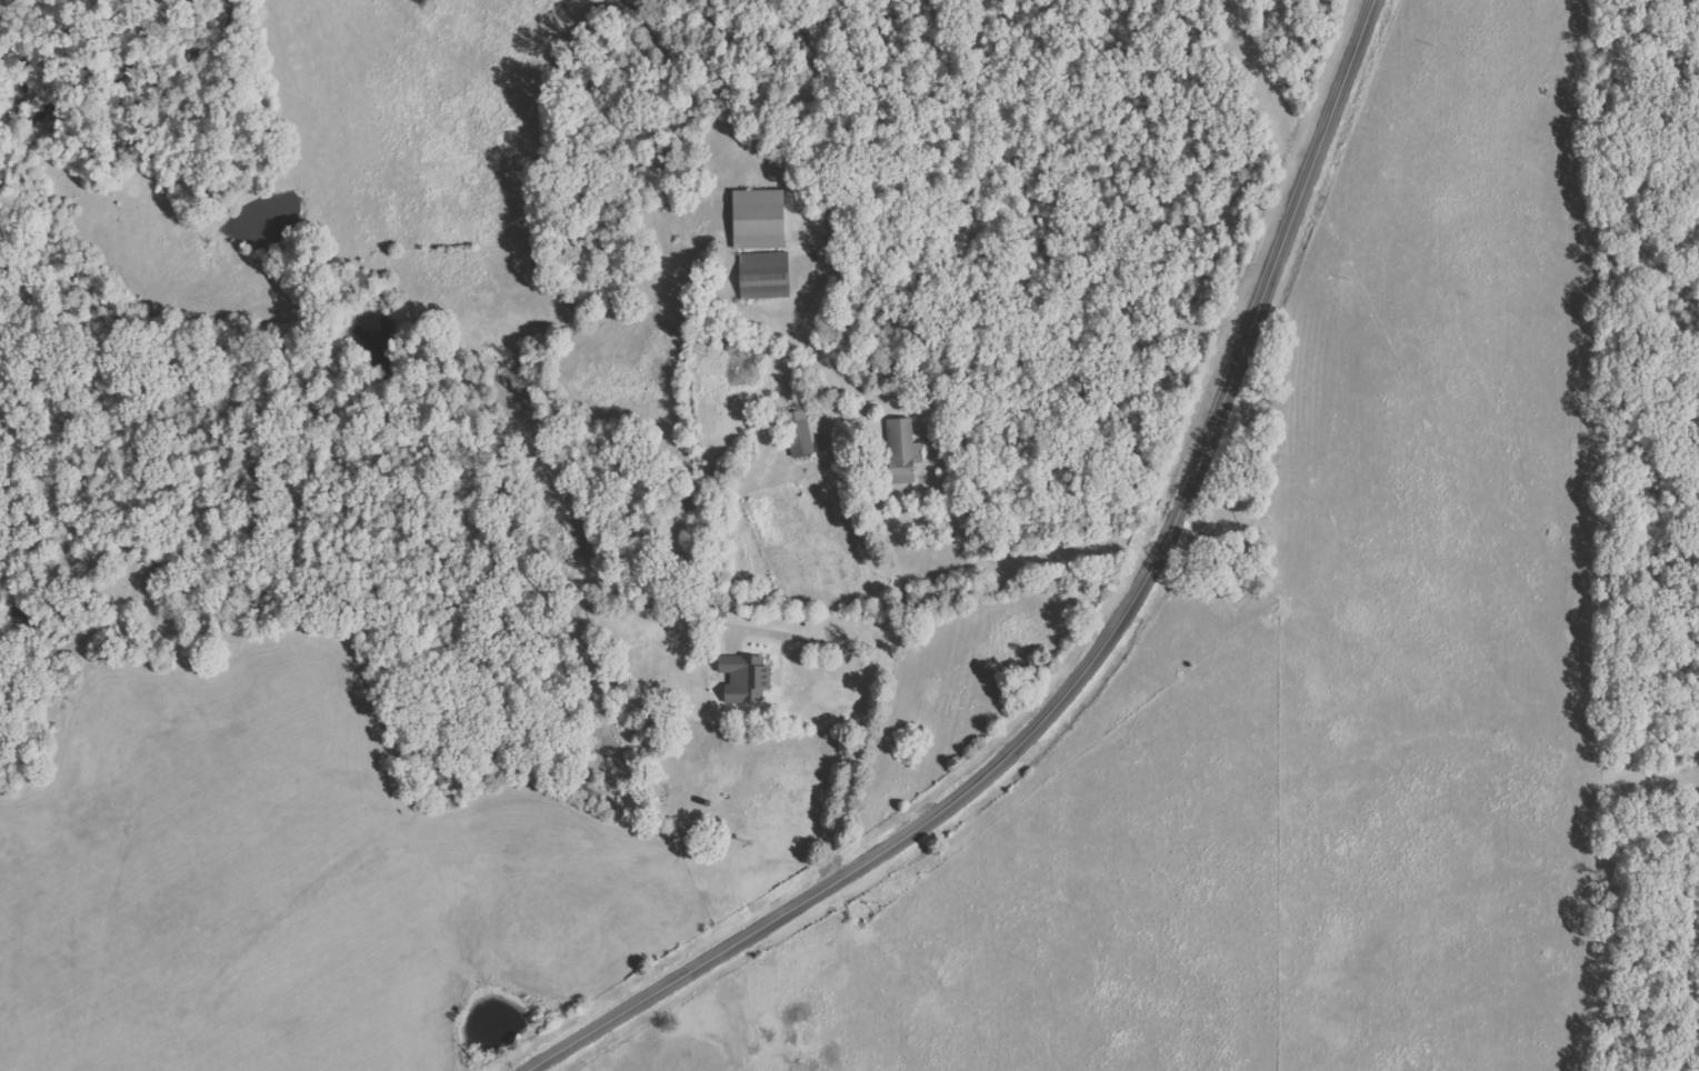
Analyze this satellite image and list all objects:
building: (759, 219)
building: (764, 276)
building: (903, 451)
road: (1097, 654)
building: (746, 679)
road: (873, 694)

